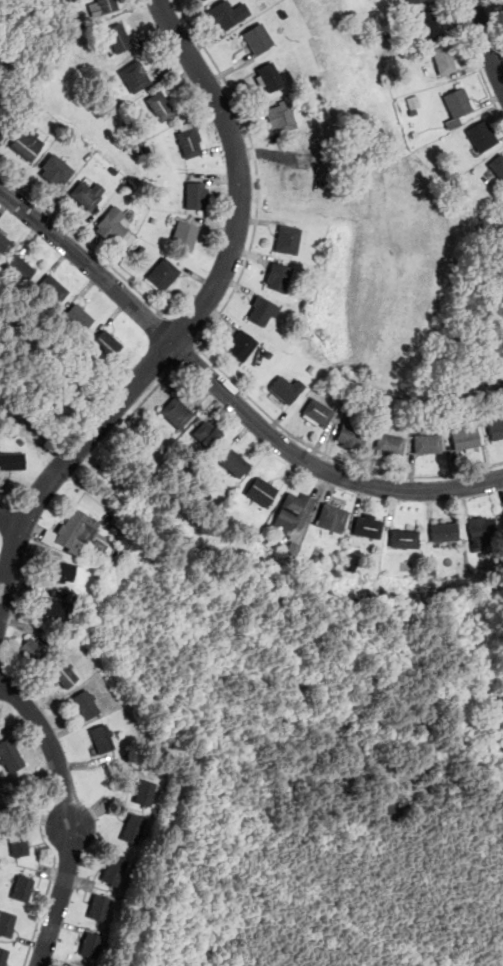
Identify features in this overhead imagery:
building: (412, 1)
building: (107, 5)
building: (227, 13)
building: (428, 23)
building: (118, 37)
building: (257, 38)
road: (488, 42)
building: (445, 58)
road: (477, 60)
building: (134, 76)
building: (268, 77)
building: (413, 101)
building: (160, 105)
building: (457, 106)
building: (280, 117)
building: (4, 124)
building: (481, 135)
building: (189, 140)
building: (26, 142)
building: (497, 165)
building: (56, 170)
road: (239, 170)
road: (257, 171)
building: (86, 192)
building: (196, 195)
building: (114, 225)
building: (184, 234)
building: (288, 239)
building: (3, 241)
road: (84, 242)
road: (89, 263)
building: (20, 267)
building: (163, 273)
building: (278, 276)
building: (53, 288)
building: (261, 310)
building: (78, 316)
road: (178, 331)
building: (106, 344)
building: (241, 344)
road: (185, 356)
building: (286, 388)
road: (143, 402)
building: (177, 411)
building: (318, 411)
building: (495, 428)
building: (207, 433)
building: (465, 434)
building: (350, 437)
building: (427, 443)
building: (390, 444)
road: (330, 456)
building: (12, 461)
road: (66, 462)
building: (235, 462)
road: (318, 465)
building: (261, 490)
building: (293, 510)
building: (332, 517)
road: (10, 524)
building: (368, 525)
building: (483, 529)
building: (75, 530)
building: (444, 531)
building: (404, 537)
building: (61, 569)
building: (53, 606)
building: (34, 651)
building: (65, 673)
building: (86, 703)
building: (102, 738)
building: (10, 754)
building: (145, 792)
road: (72, 815)
building: (134, 828)
building: (19, 842)
building: (114, 870)
road: (51, 875)
building: (23, 887)
building: (99, 907)
building: (6, 922)
building: (91, 944)
building: (3, 955)

